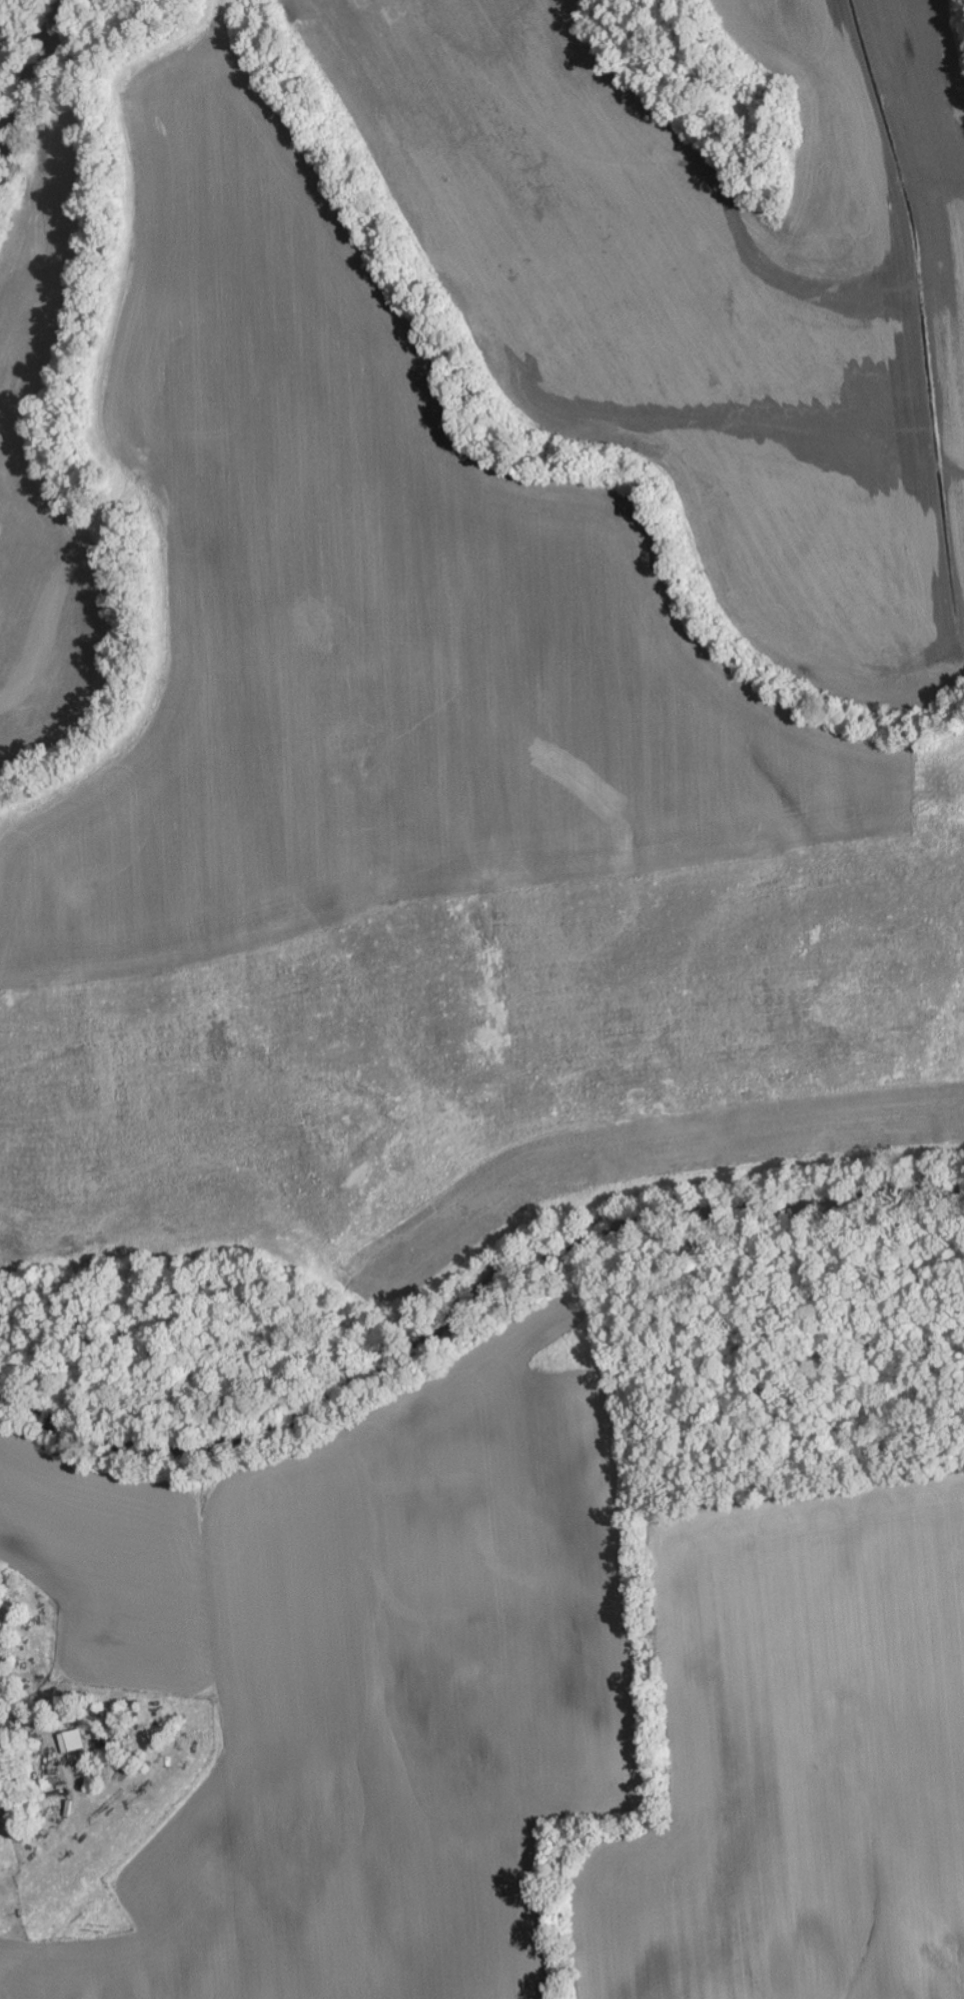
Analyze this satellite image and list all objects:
building: (74, 1741)

